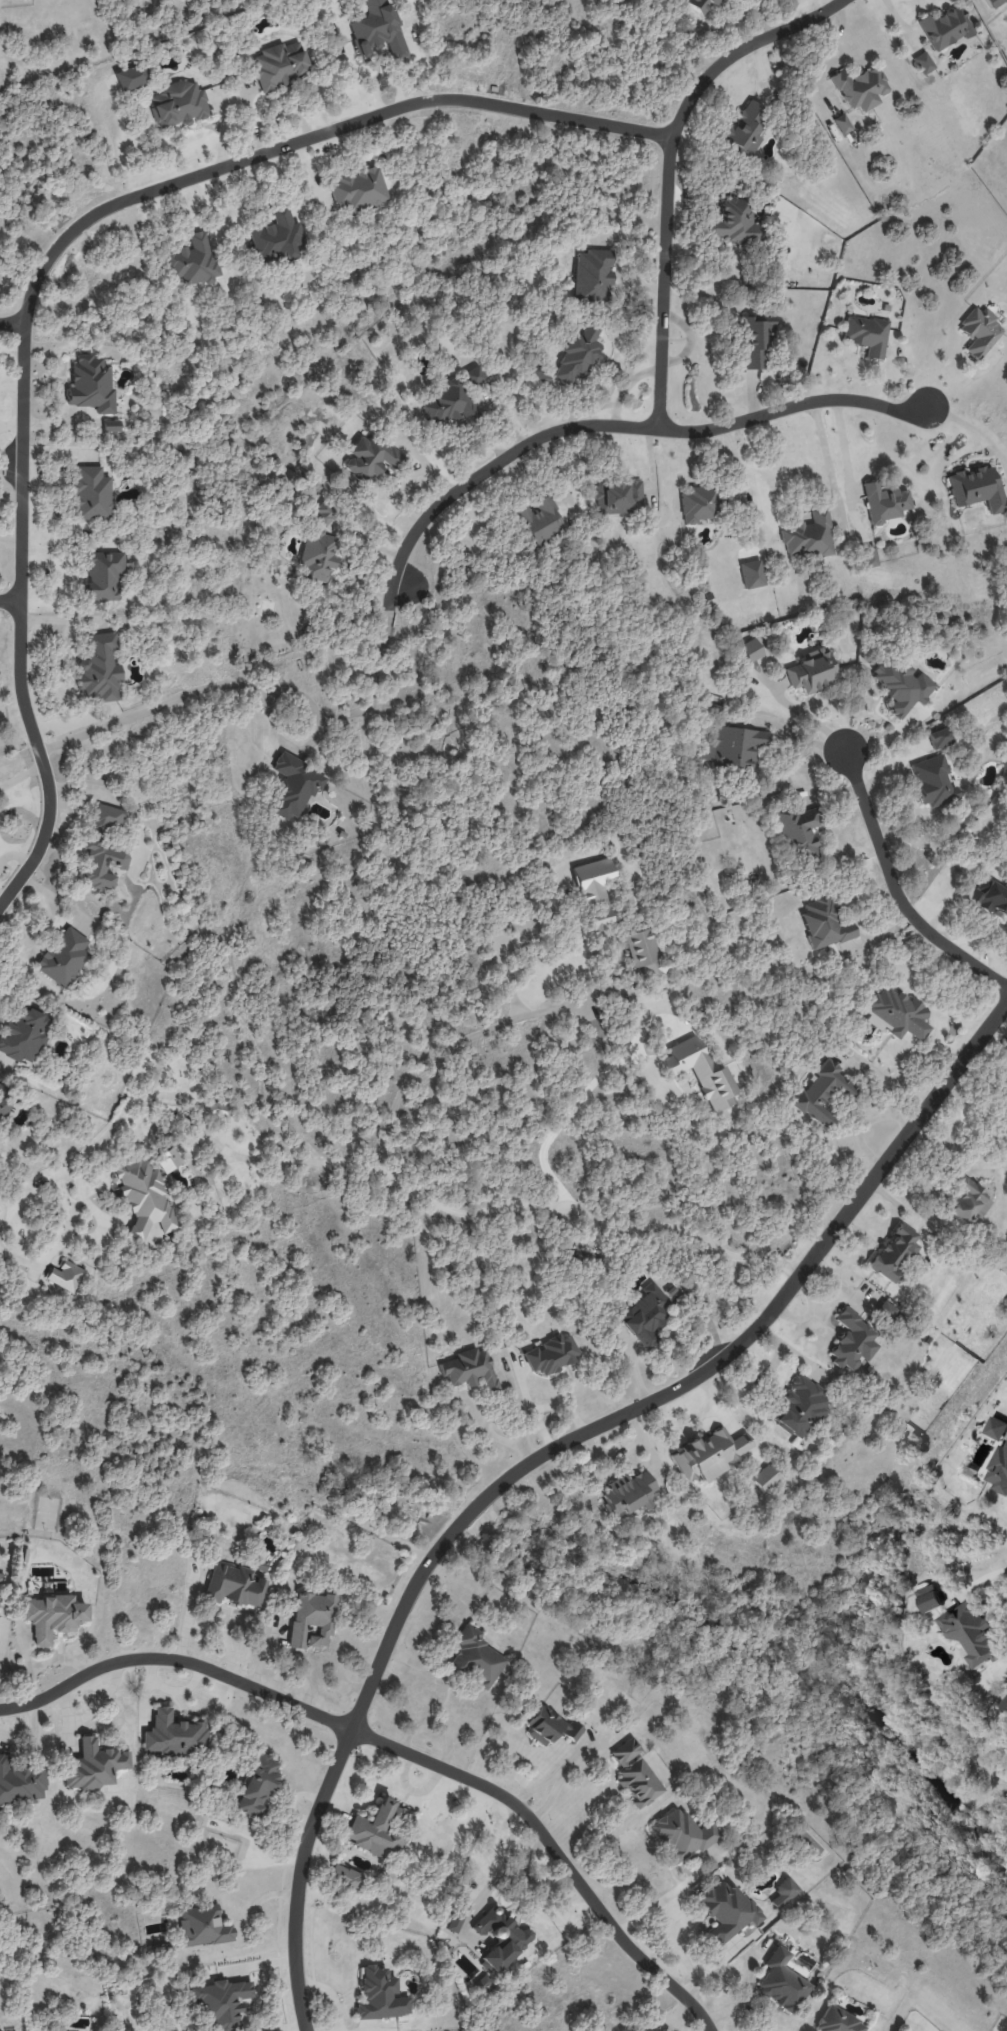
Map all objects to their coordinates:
building: (700, 5)
building: (1006, 5)
building: (944, 27)
building: (376, 29)
building: (923, 62)
building: (279, 65)
building: (130, 77)
building: (860, 88)
building: (177, 104)
building: (842, 124)
building: (746, 130)
road: (667, 168)
building: (358, 189)
building: (735, 221)
road: (46, 259)
building: (193, 261)
building: (592, 275)
road: (13, 322)
building: (979, 331)
building: (866, 334)
building: (756, 339)
building: (579, 355)
building: (540, 374)
building: (474, 375)
building: (90, 384)
building: (449, 404)
road: (625, 424)
building: (110, 425)
road: (843, 444)
building: (370, 457)
building: (977, 488)
building: (90, 494)
building: (618, 497)
building: (884, 502)
building: (698, 503)
building: (324, 514)
building: (539, 519)
building: (807, 536)
building: (319, 555)
building: (868, 556)
building: (103, 575)
road: (10, 600)
building: (750, 649)
building: (99, 667)
building: (811, 670)
building: (901, 685)
road: (270, 703)
building: (711, 709)
road: (808, 718)
road: (796, 736)
building: (939, 737)
building: (734, 747)
road: (295, 753)
building: (933, 782)
building: (293, 786)
building: (106, 818)
building: (797, 831)
building: (102, 864)
road: (894, 890)
building: (594, 891)
building: (992, 899)
building: (823, 923)
building: (644, 953)
building: (63, 957)
building: (897, 1013)
building: (24, 1034)
road: (458, 1044)
building: (699, 1072)
building: (822, 1092)
building: (3, 1101)
building: (217, 1109)
road: (566, 1116)
building: (167, 1159)
road: (332, 1159)
building: (144, 1197)
building: (968, 1200)
road: (2, 1205)
building: (894, 1252)
building: (65, 1276)
building: (885, 1310)
building: (644, 1315)
building: (852, 1341)
building: (552, 1354)
building: (469, 1369)
road: (514, 1390)
building: (799, 1407)
road: (489, 1420)
building: (996, 1429)
road: (544, 1451)
building: (709, 1454)
building: (999, 1471)
building: (765, 1477)
building: (627, 1493)
road: (981, 1579)
building: (234, 1586)
building: (929, 1599)
building: (51, 1616)
building: (311, 1620)
building: (972, 1634)
road: (1, 1636)
building: (476, 1657)
road: (175, 1661)
building: (1004, 1705)
building: (550, 1727)
building: (172, 1735)
building: (94, 1765)
road: (567, 1767)
building: (634, 1773)
building: (22, 1783)
building: (257, 1786)
road: (536, 1786)
building: (375, 1832)
building: (681, 1834)
road: (554, 1848)
road: (503, 1875)
building: (345, 1877)
road: (670, 1892)
building: (783, 1892)
building: (726, 1909)
building: (454, 1921)
building: (202, 1925)
building: (500, 1937)
building: (782, 1982)
building: (379, 1995)
building: (221, 2003)
building: (837, 2021)
building: (14, 2030)

